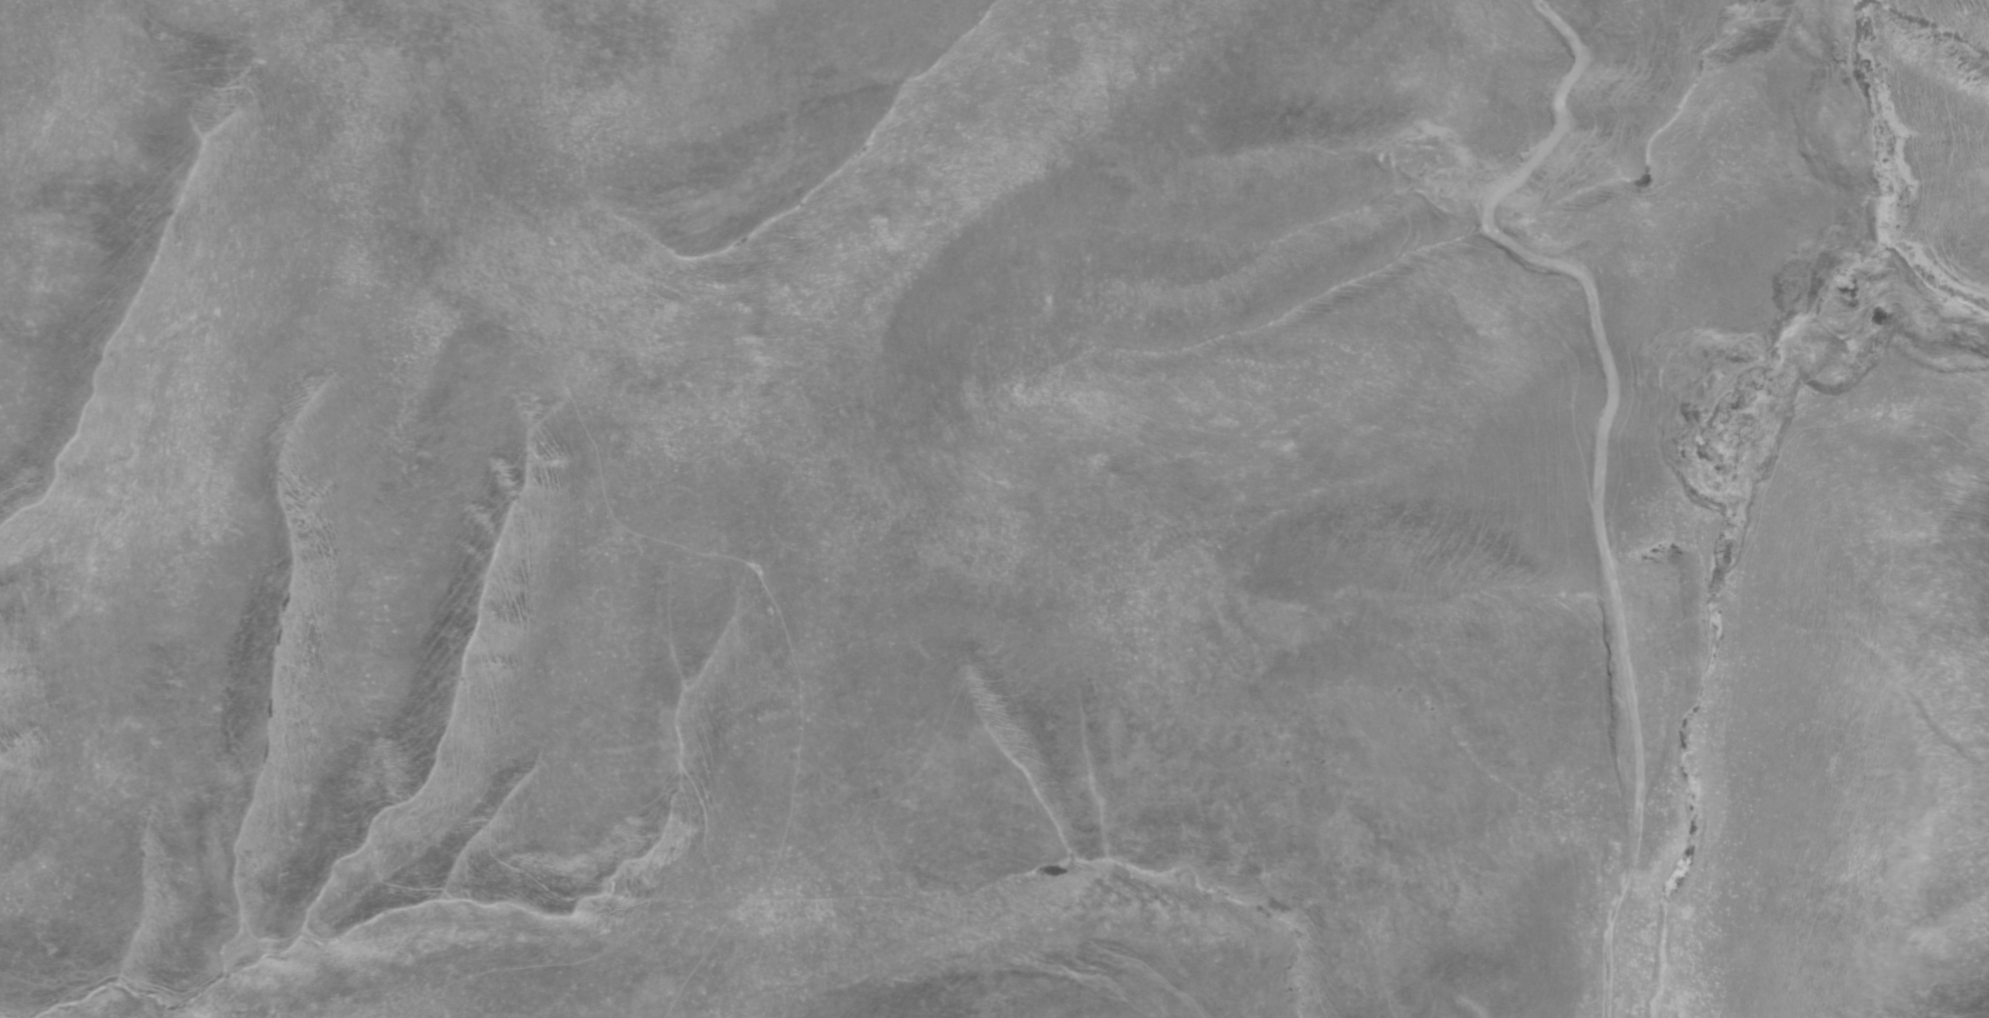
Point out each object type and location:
road: (1627, 508)

